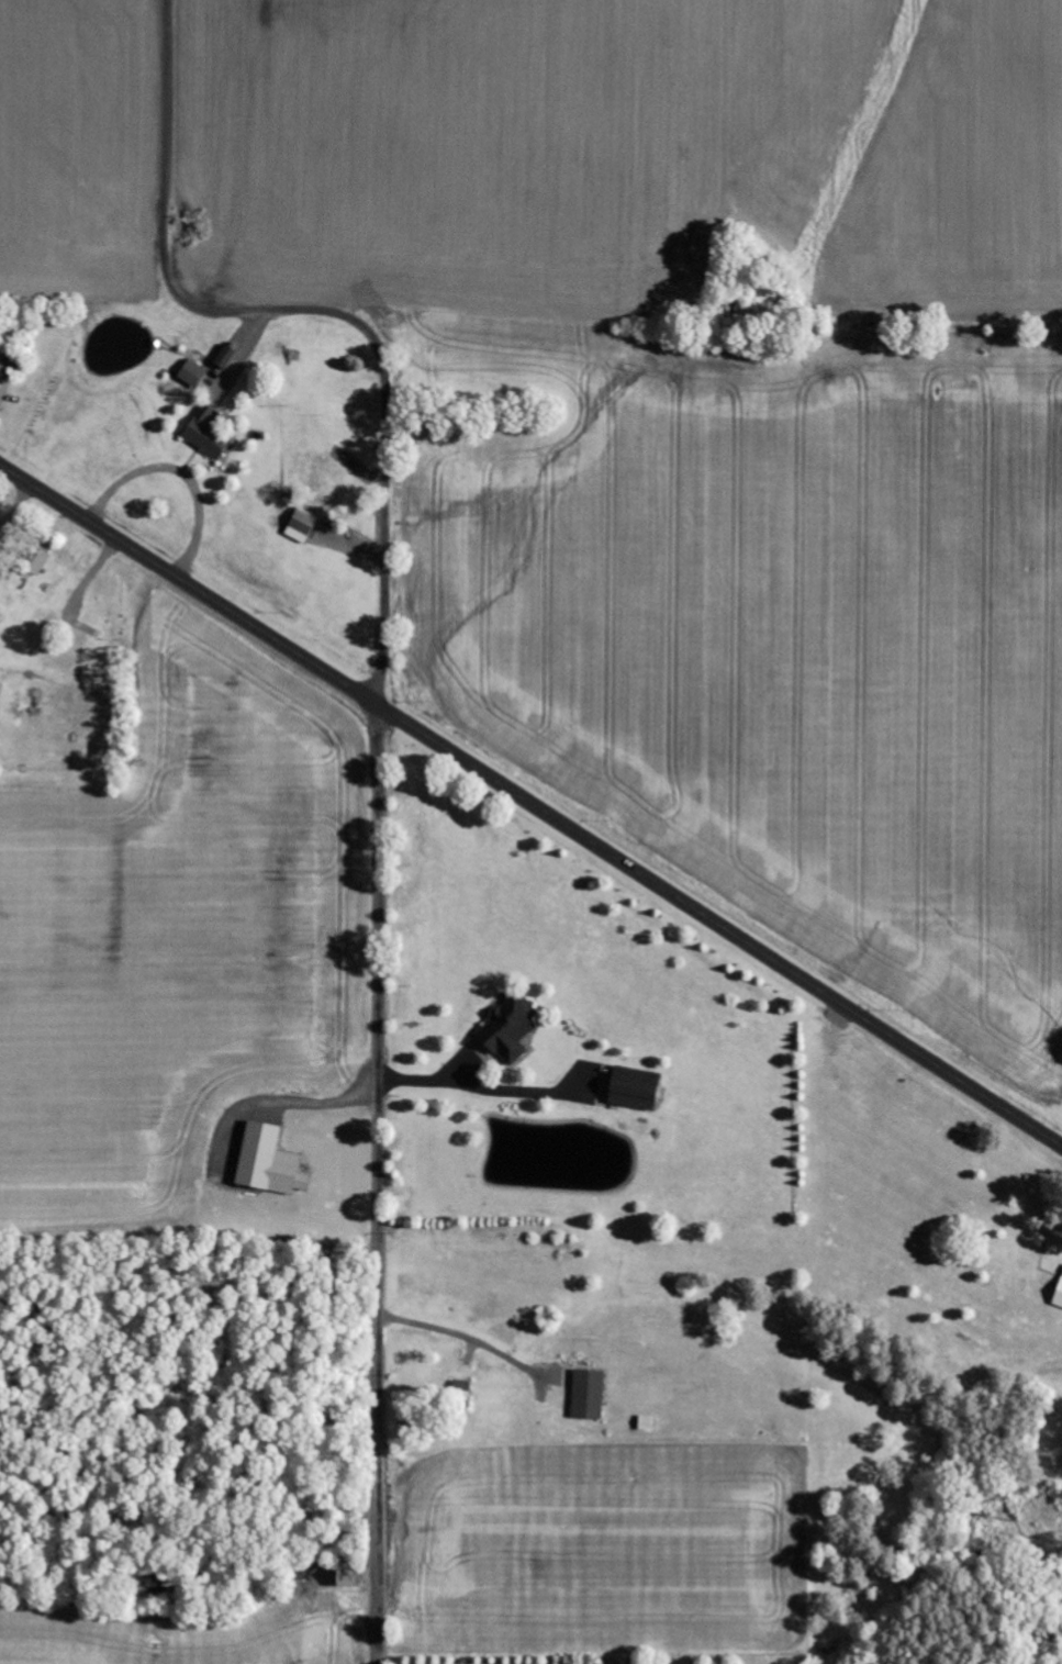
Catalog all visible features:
road: (312, 313)
building: (227, 357)
building: (194, 375)
building: (209, 433)
building: (303, 526)
road: (111, 639)
road: (530, 803)
building: (512, 1029)
building: (637, 1088)
building: (271, 1161)
road: (377, 1183)
building: (1059, 1298)
building: (590, 1395)
building: (350, 1576)

